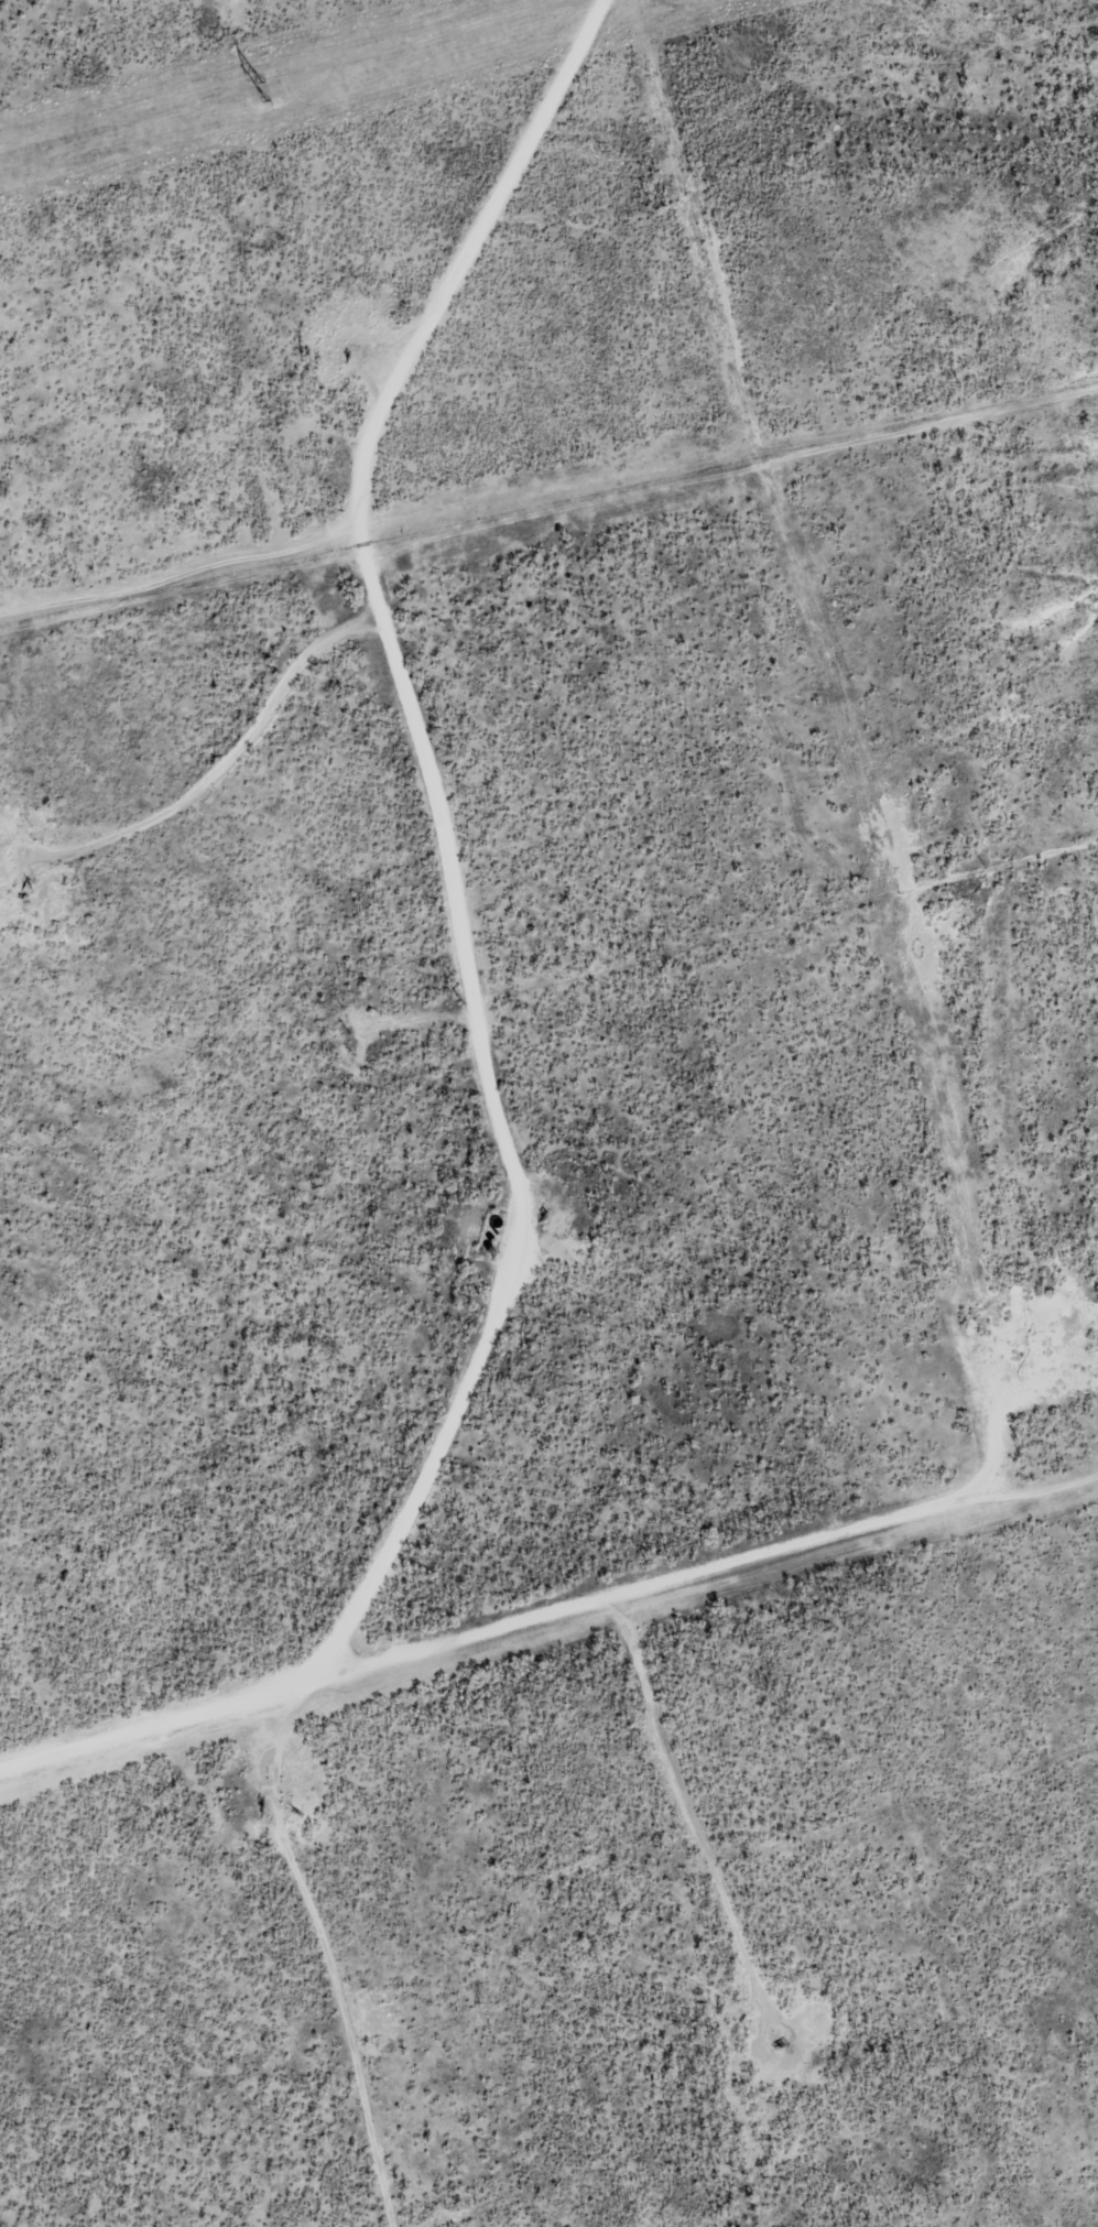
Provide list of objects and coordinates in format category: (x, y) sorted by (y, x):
power tower: (267, 90)

